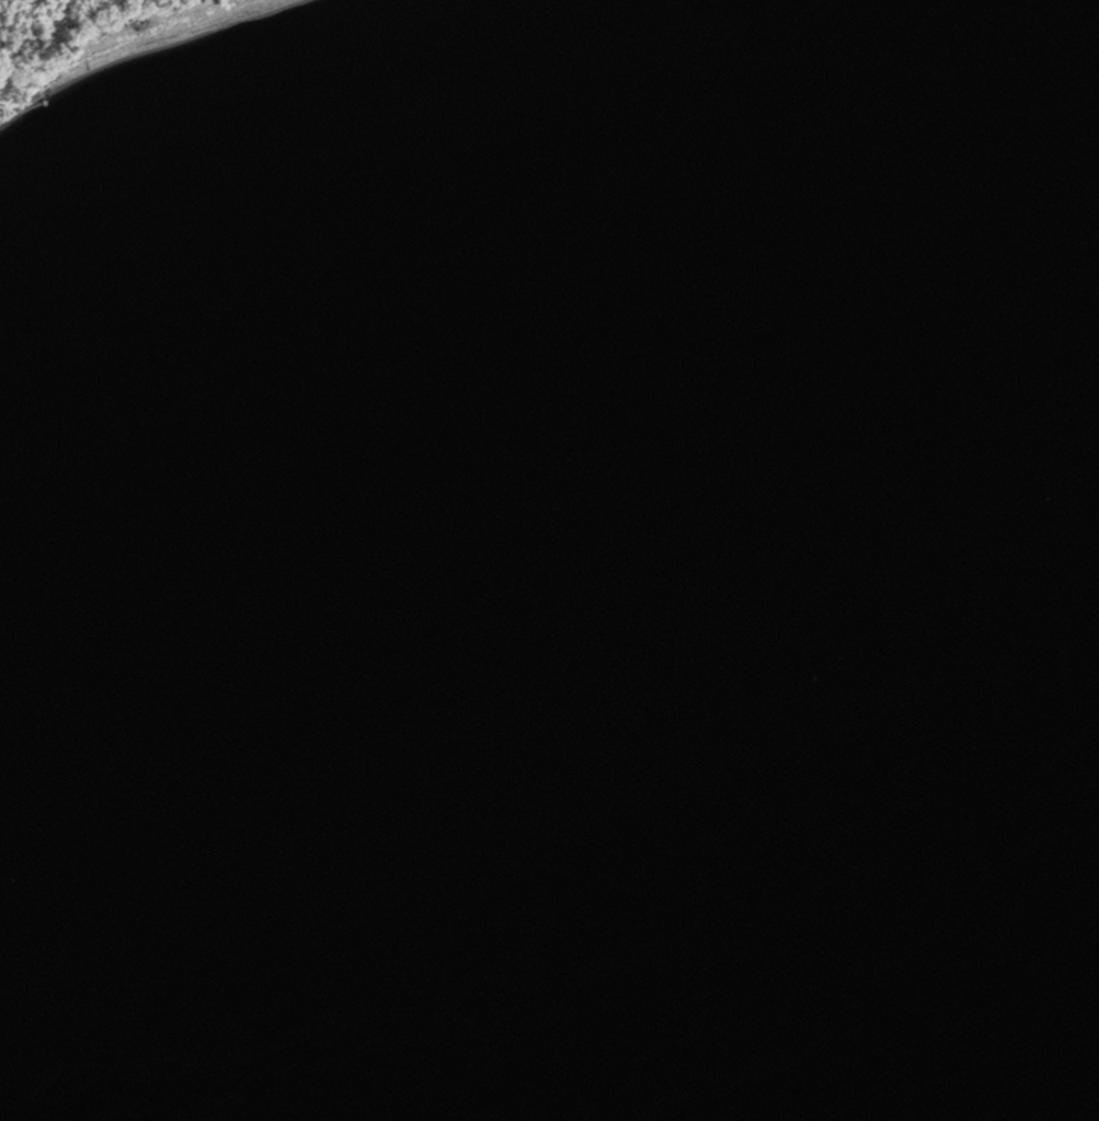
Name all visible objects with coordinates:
building: (362, 182)
river: (553, 964)

